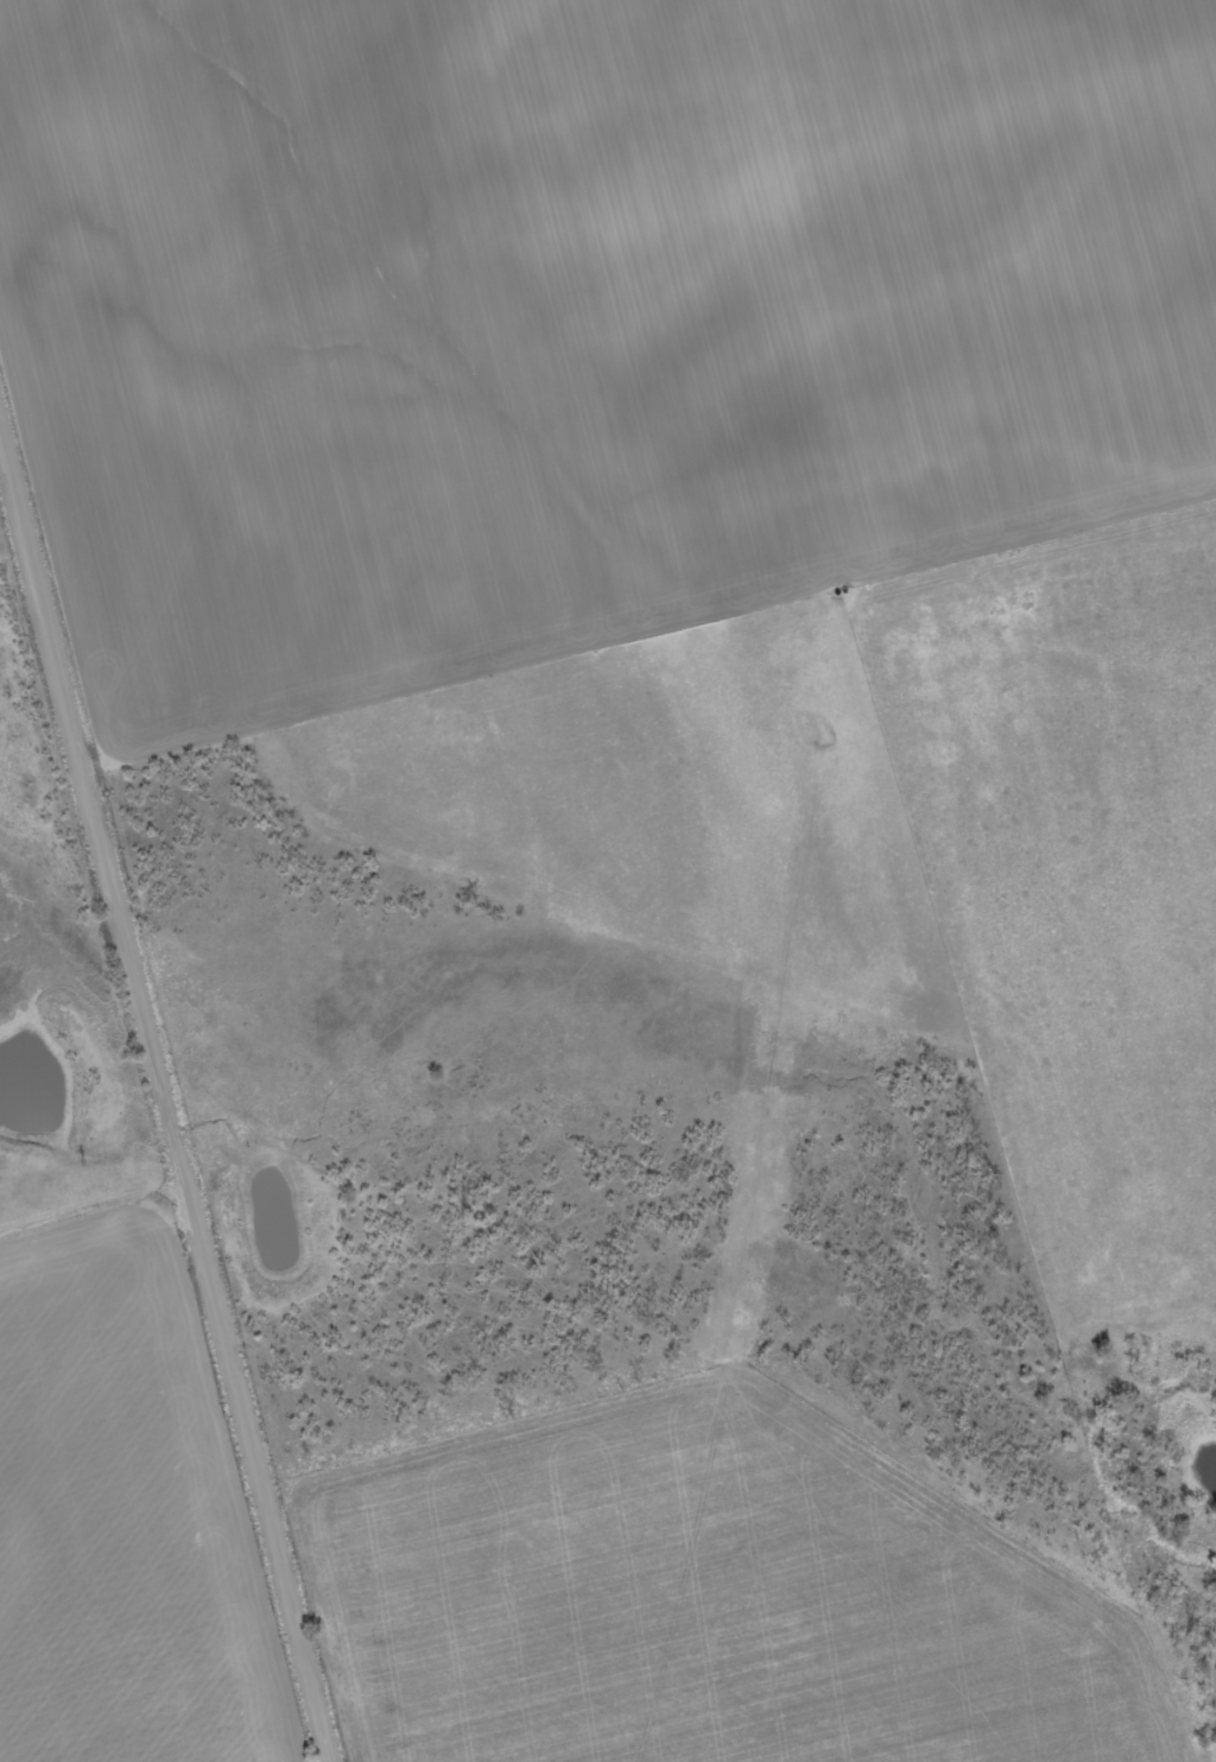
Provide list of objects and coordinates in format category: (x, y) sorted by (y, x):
road: (164, 1098)

